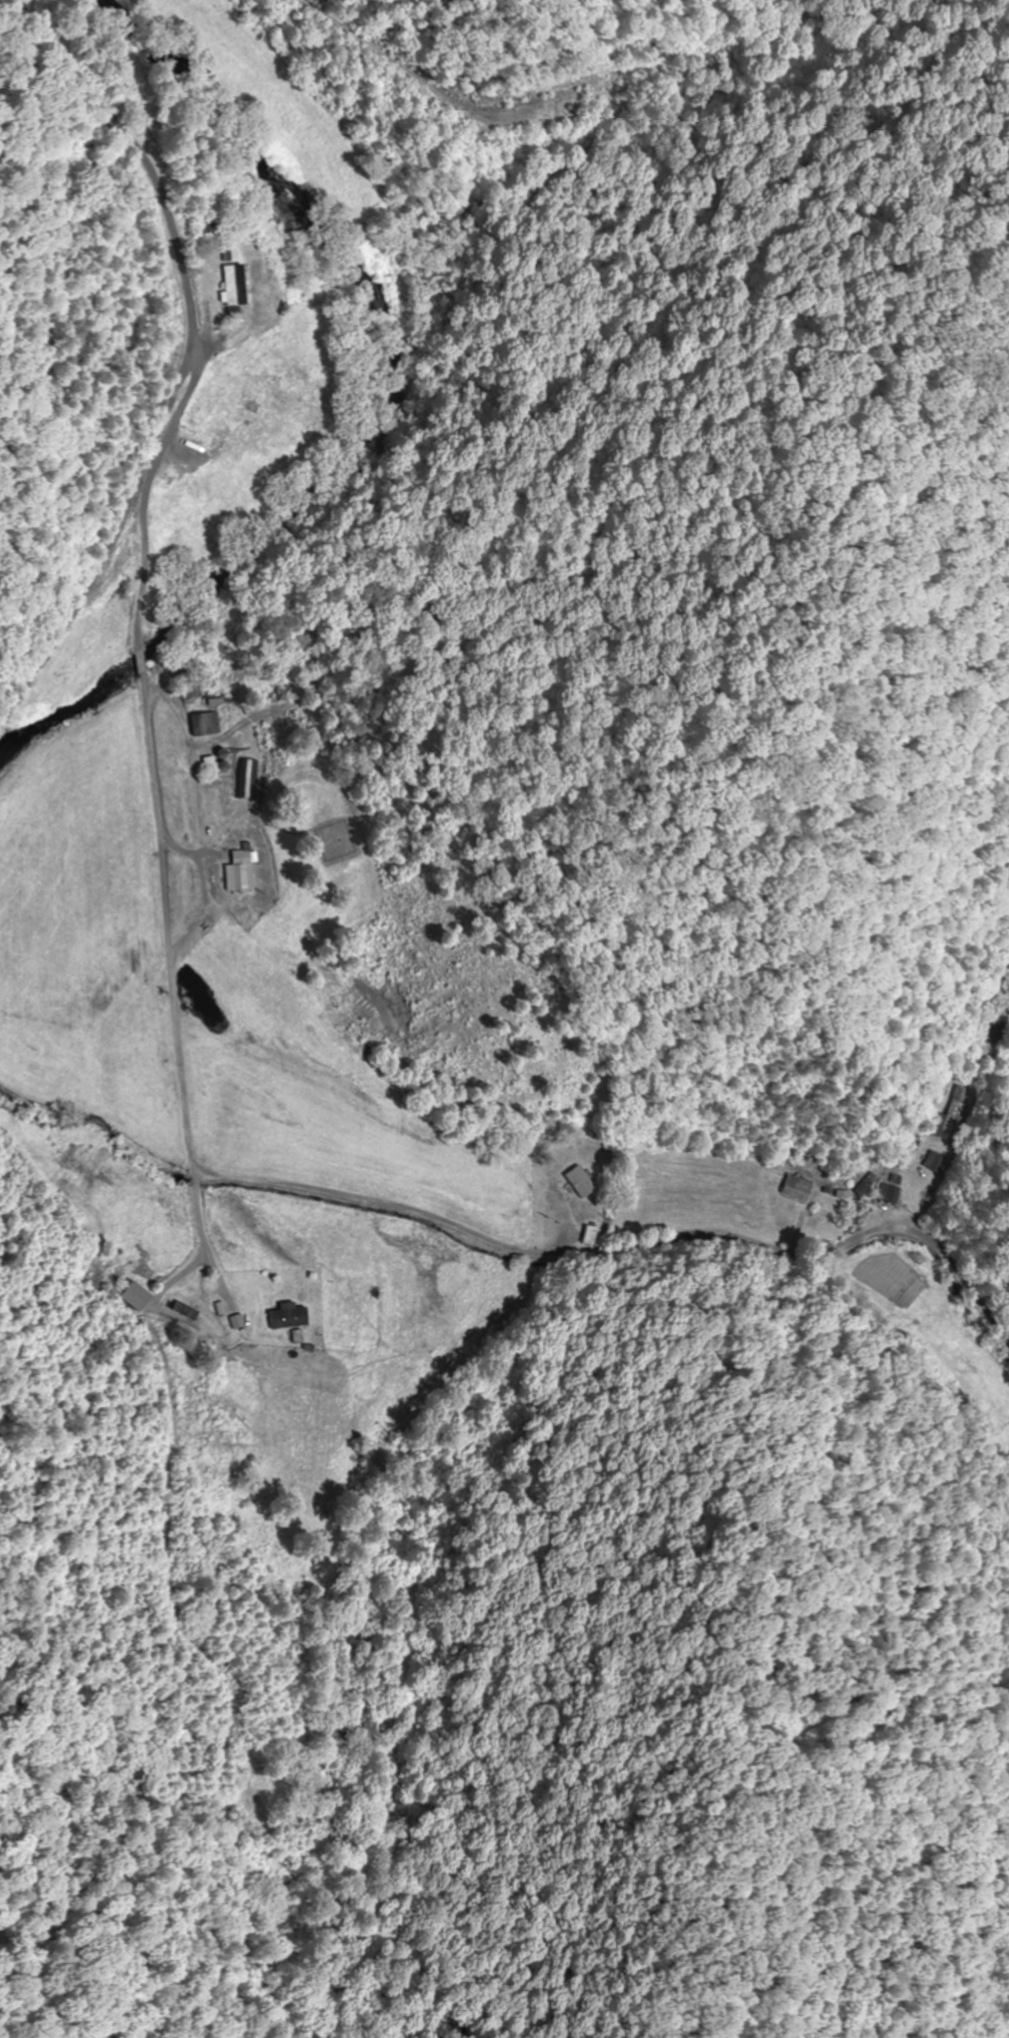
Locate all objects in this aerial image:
building: (229, 285)
road: (192, 355)
building: (214, 423)
building: (163, 480)
building: (195, 693)
building: (209, 724)
building: (254, 779)
building: (242, 872)
building: (228, 925)
building: (956, 1117)
building: (939, 1162)
building: (580, 1182)
building: (867, 1184)
building: (797, 1188)
building: (892, 1194)
building: (591, 1235)
road: (322, 1240)
building: (133, 1297)
building: (288, 1319)

